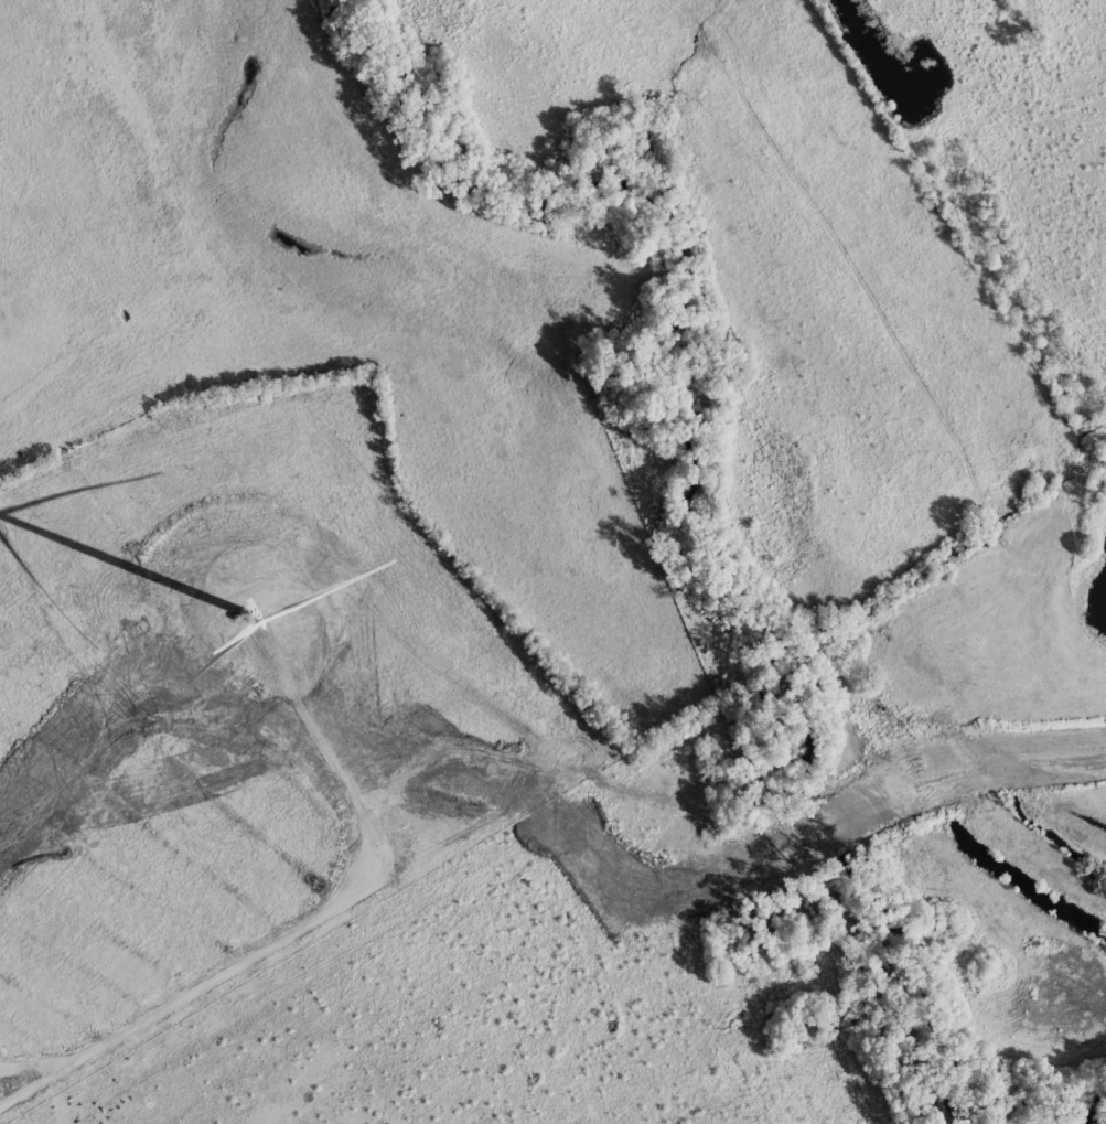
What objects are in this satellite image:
wind turbine: (247, 598)
road: (309, 925)

